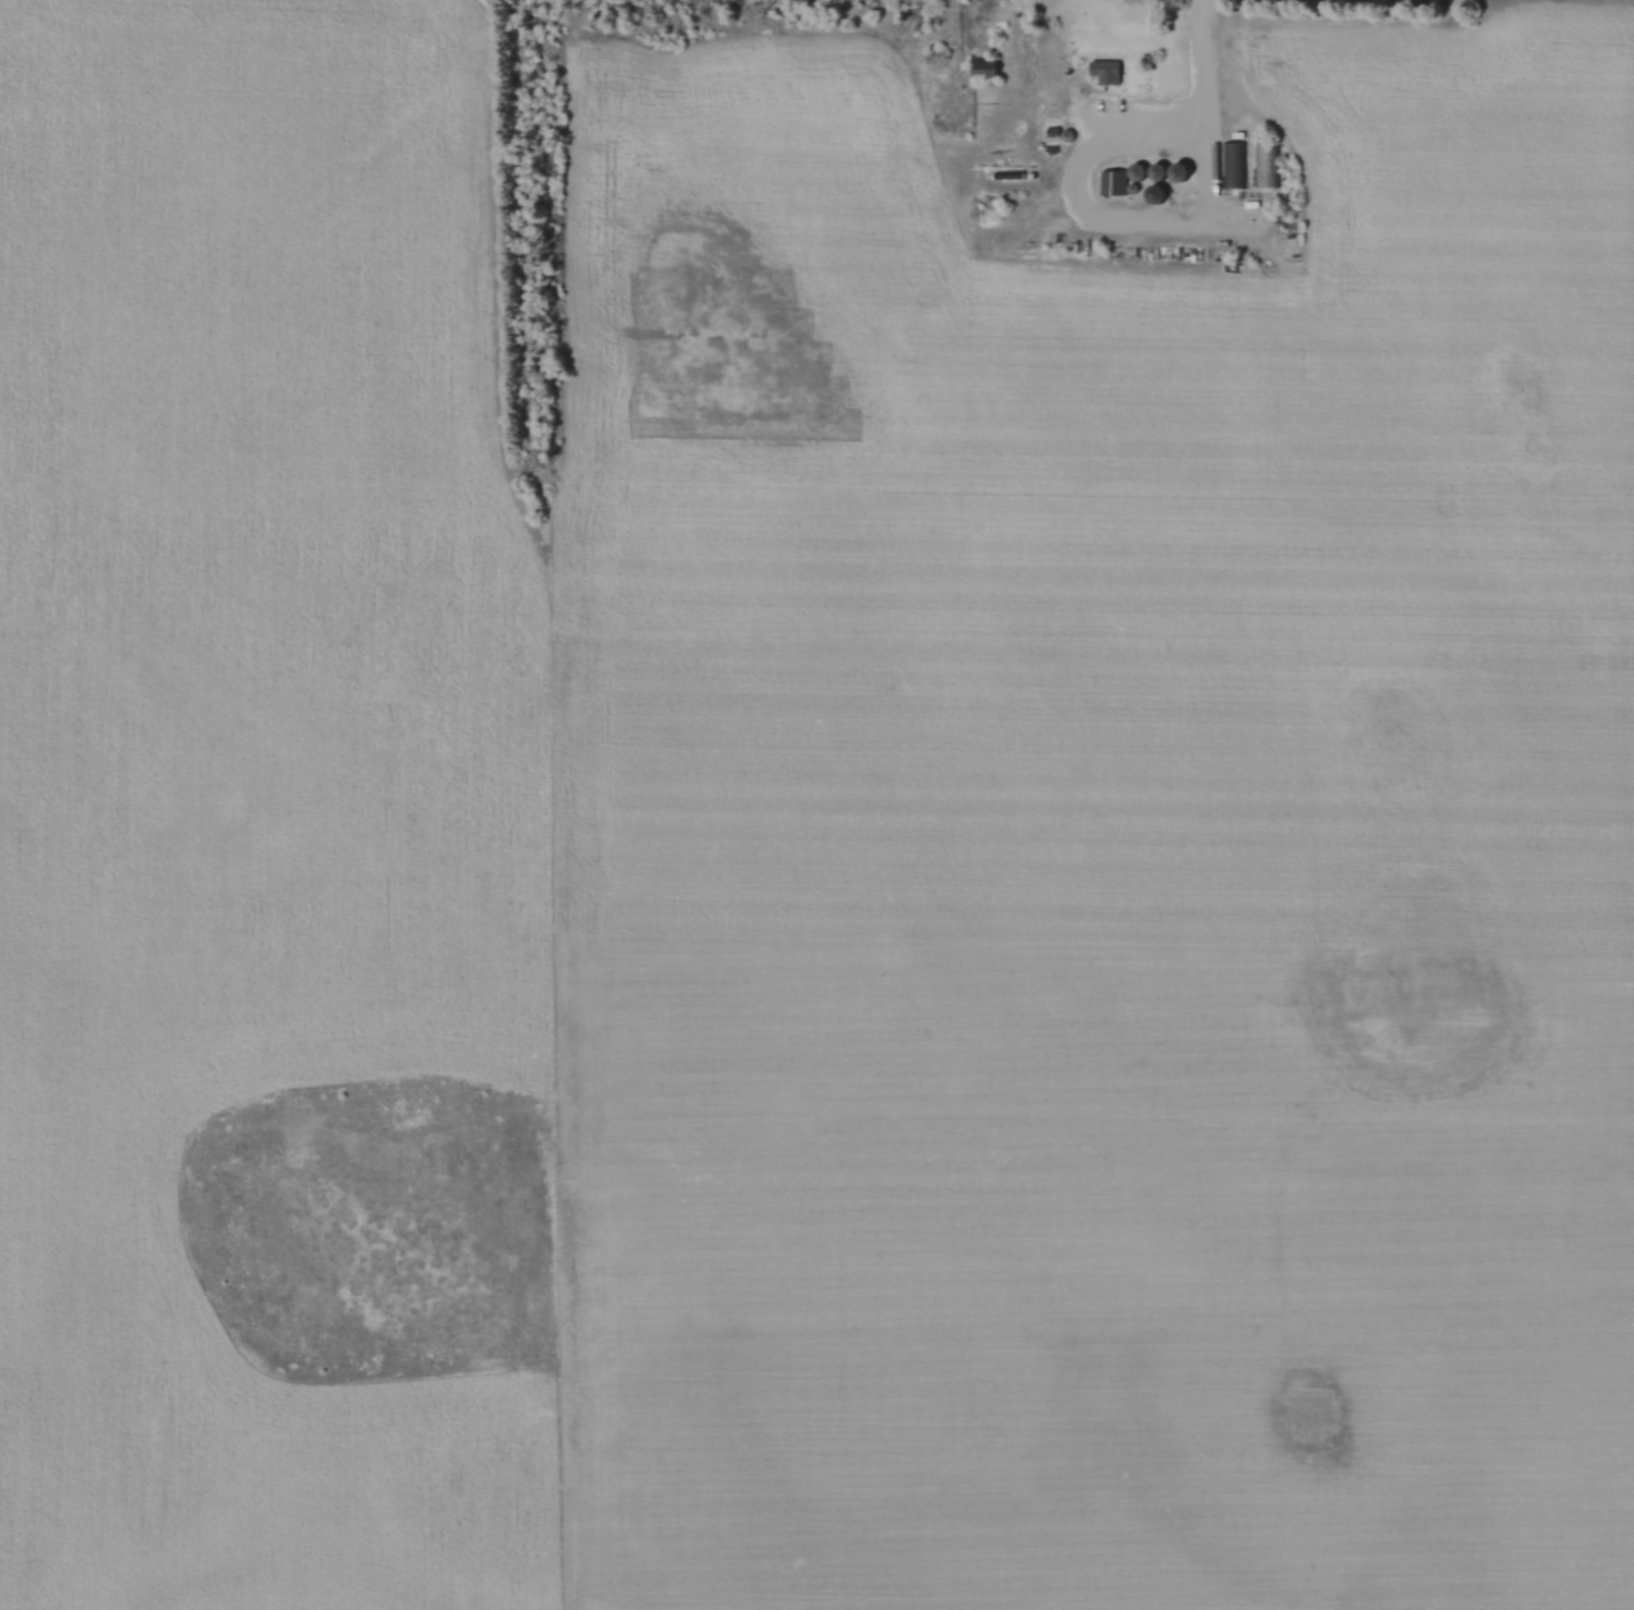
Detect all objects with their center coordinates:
road: (1199, 58)
building: (982, 70)
building: (1102, 74)
building: (1233, 167)
building: (1267, 167)
building: (1176, 173)
building: (1124, 180)
building: (1152, 196)
road: (1153, 225)

